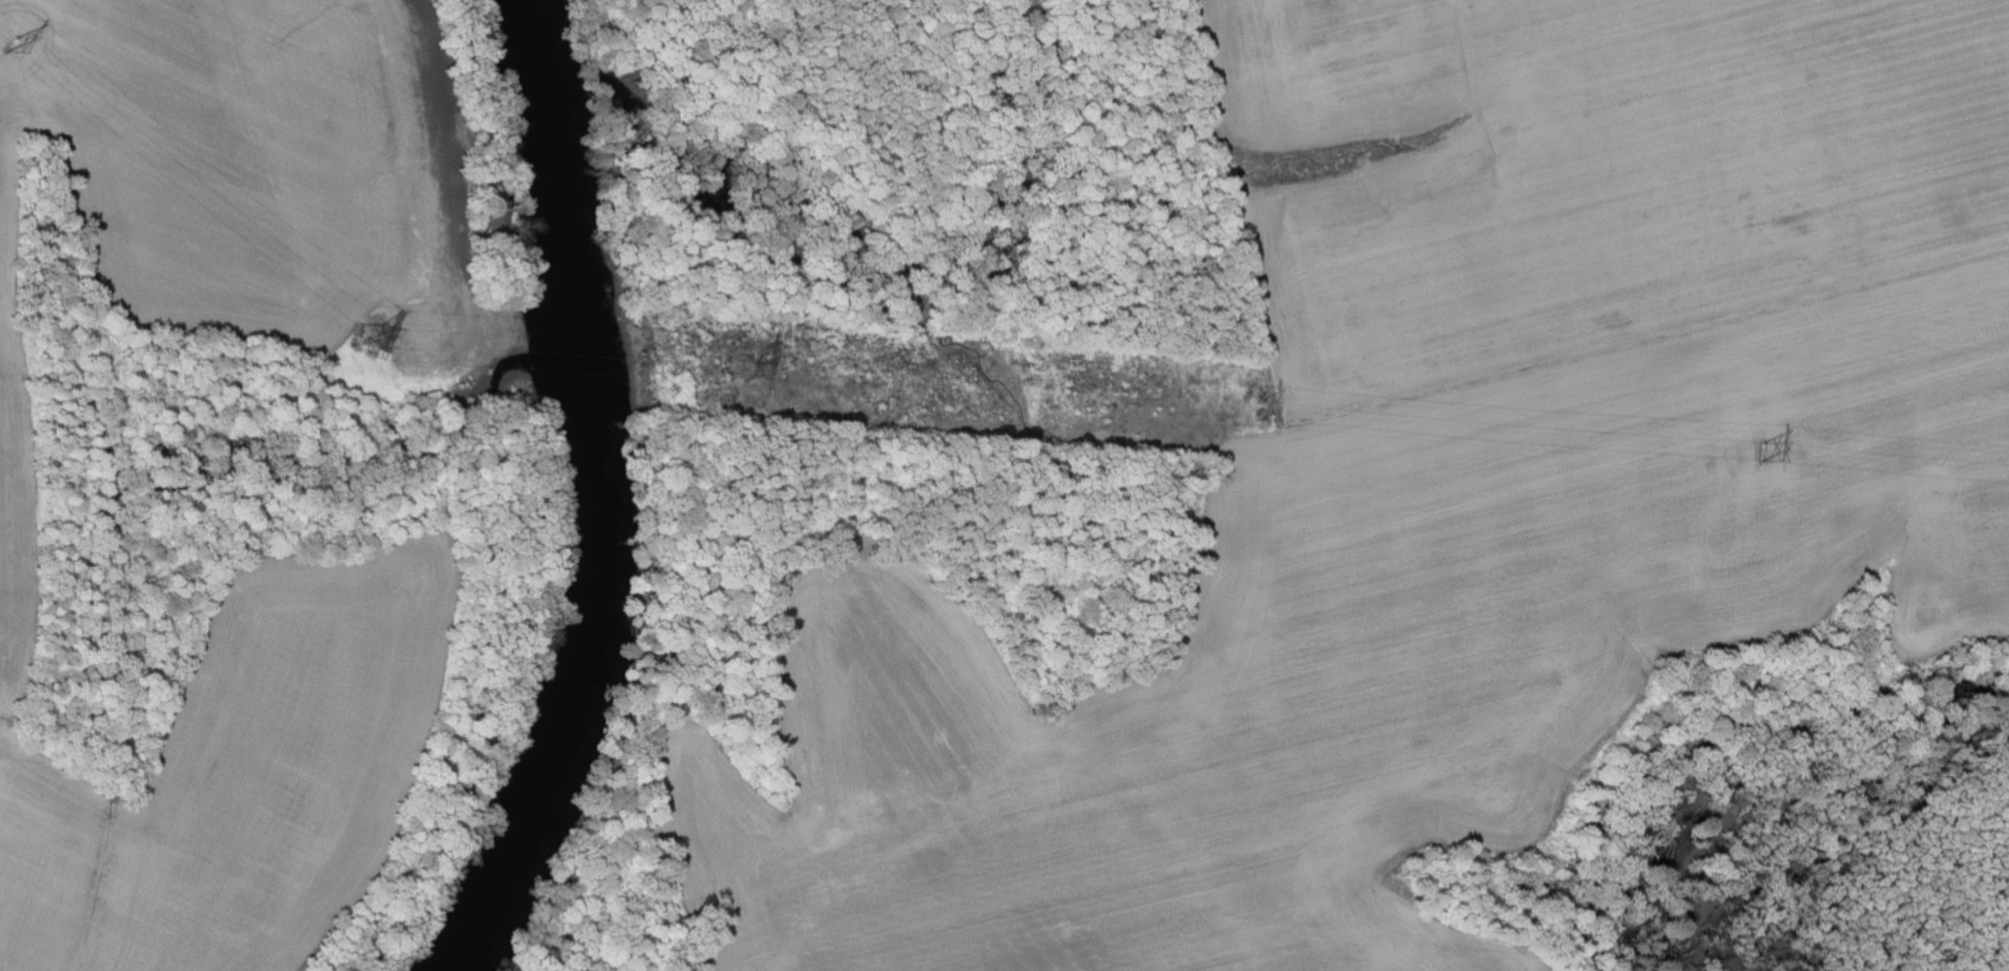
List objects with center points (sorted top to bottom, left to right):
power tower: (11, 46)
power tower: (366, 340)
power tower: (737, 369)
power tower: (1251, 412)
power tower: (1760, 452)
river: (575, 497)

